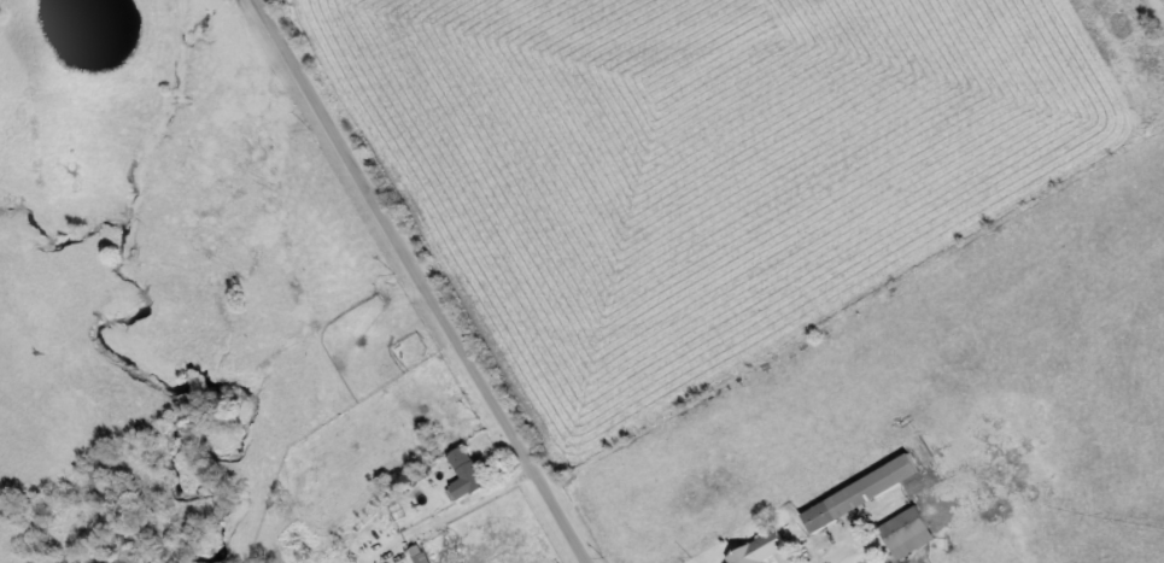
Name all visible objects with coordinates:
road: (428, 281)
building: (474, 469)
building: (866, 493)
road: (473, 499)
building: (912, 532)
building: (764, 550)
building: (427, 558)

